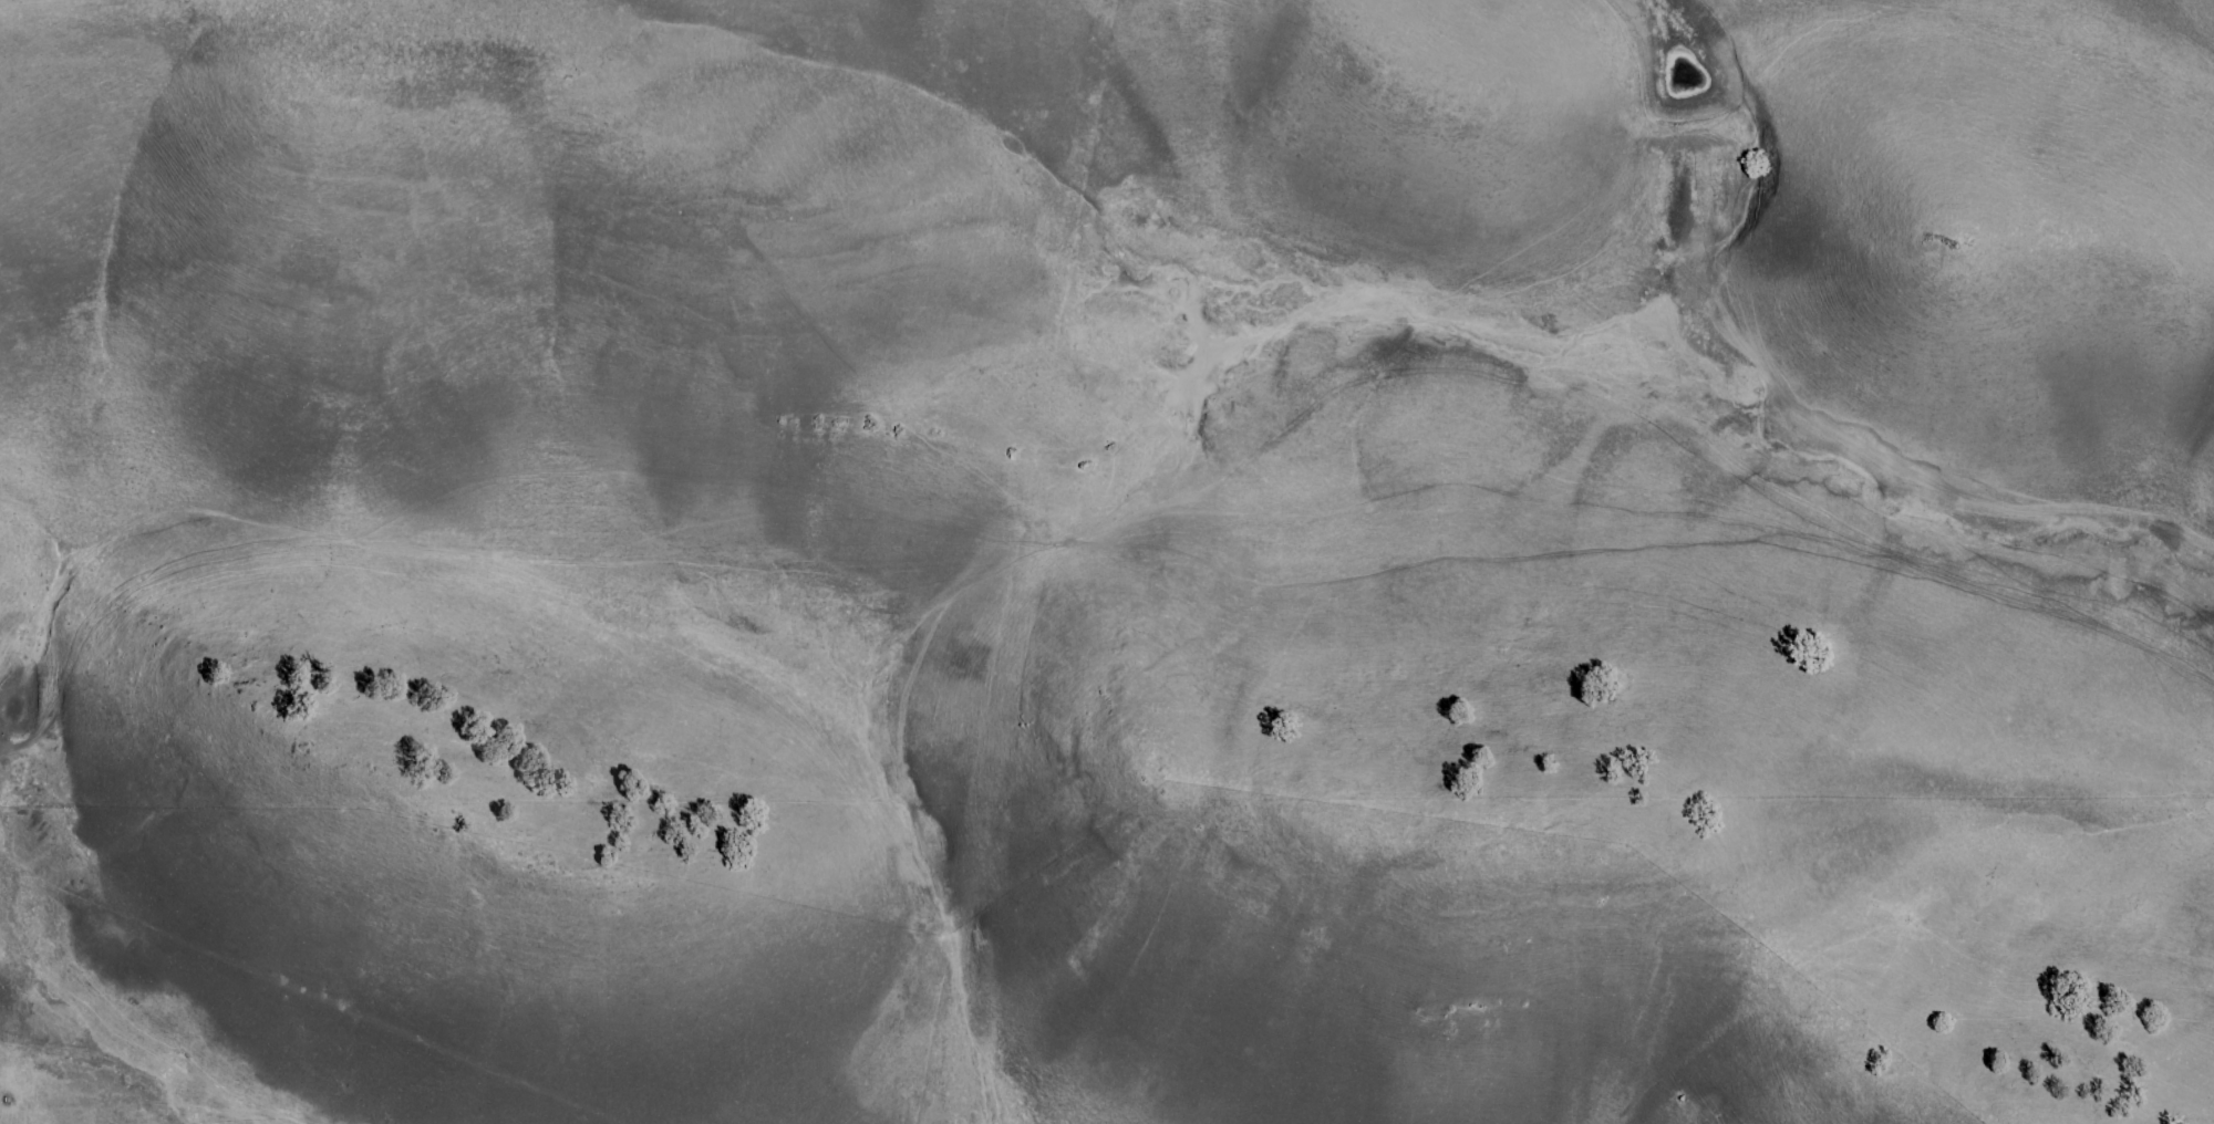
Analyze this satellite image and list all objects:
park: (29, 1)
road: (143, 1053)

